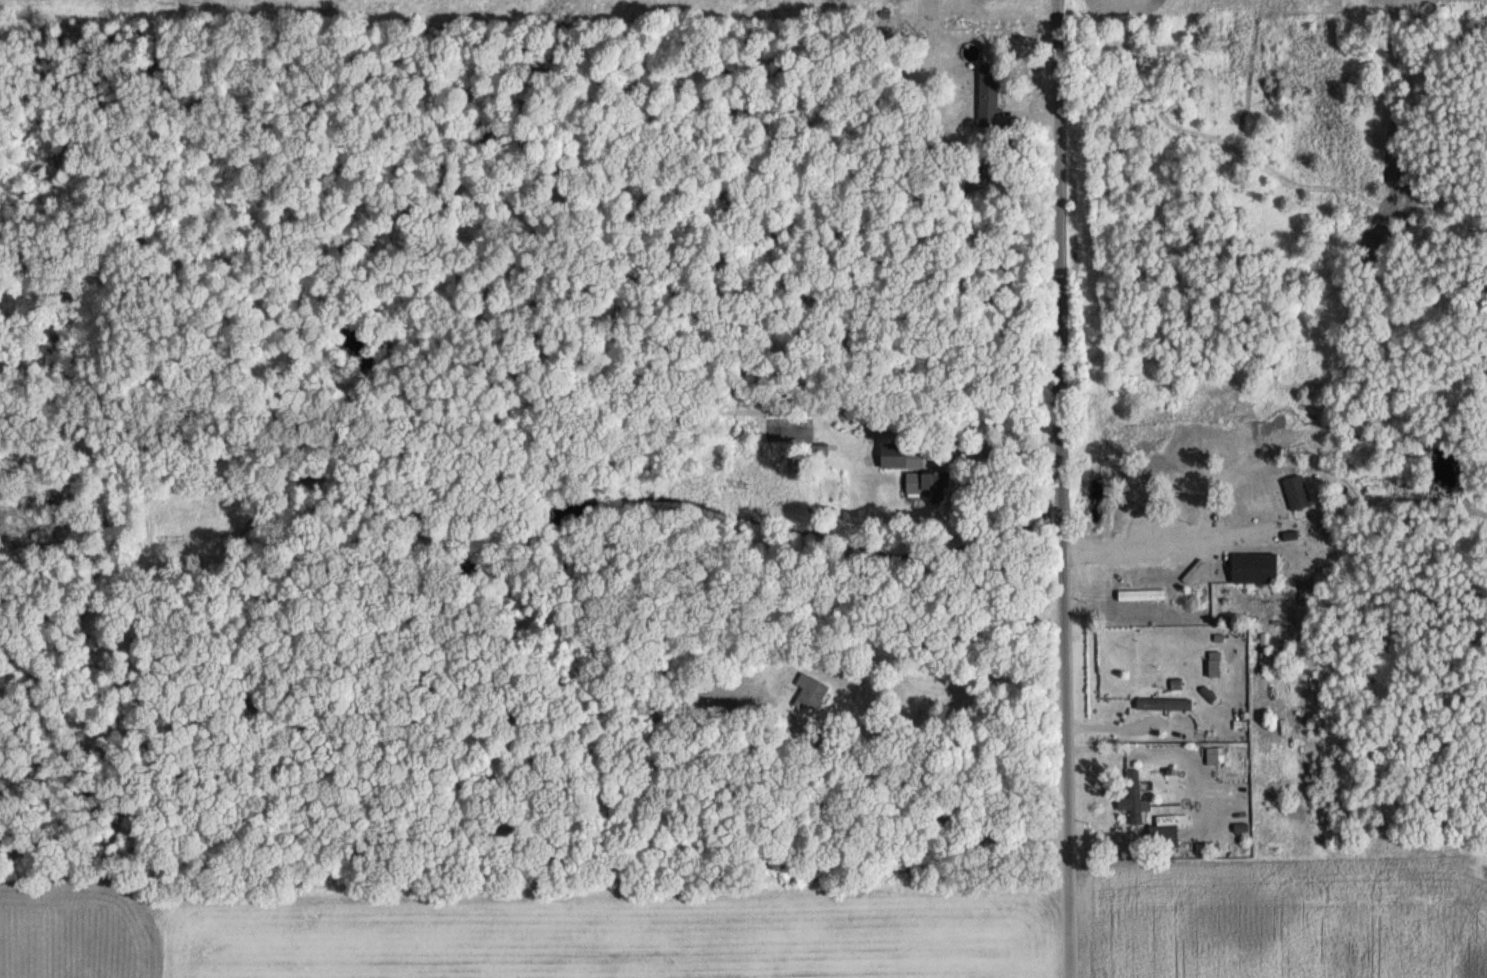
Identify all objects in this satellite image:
building: (987, 95)
building: (818, 448)
building: (899, 457)
building: (918, 481)
road: (1056, 489)
building: (1295, 492)
building: (1253, 567)
building: (1141, 593)
building: (1213, 662)
building: (810, 688)
building: (1163, 702)
building: (1211, 754)
building: (1132, 780)
building: (1163, 831)

